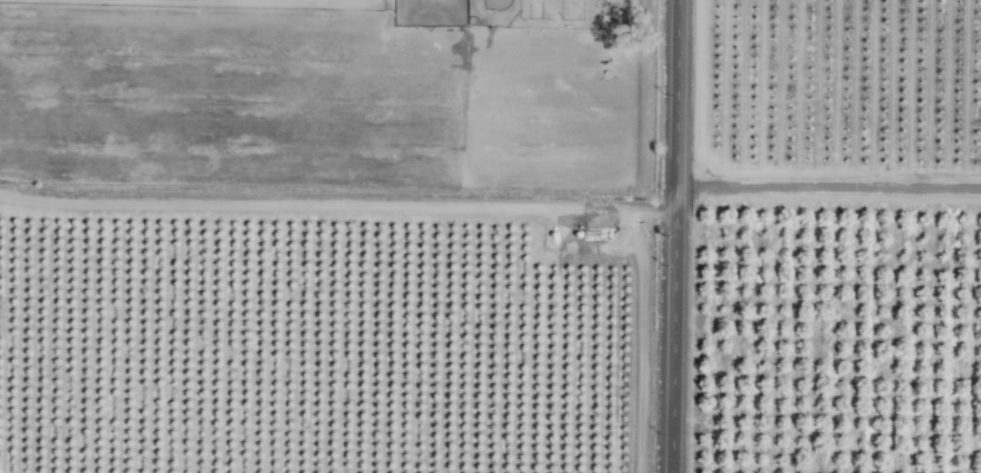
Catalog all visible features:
road: (827, 188)
road: (673, 236)

